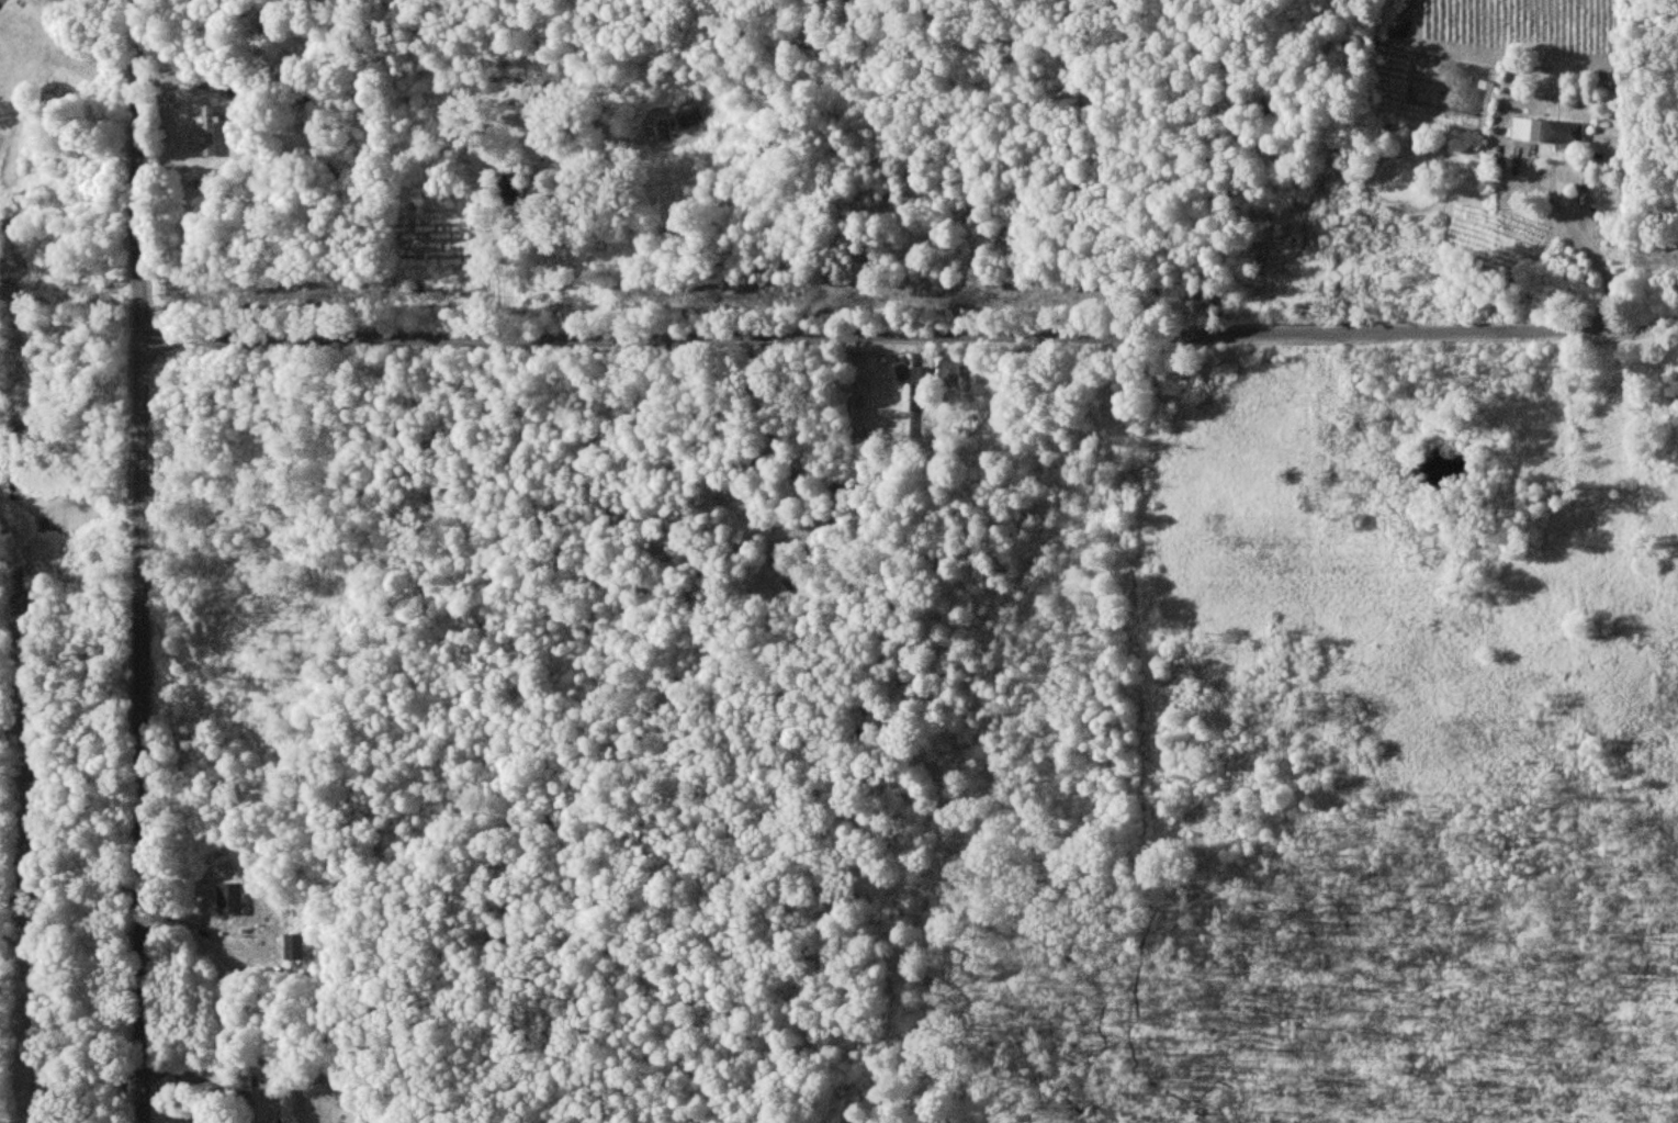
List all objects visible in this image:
road: (1, 1)
building: (1546, 134)
road: (948, 338)
road: (144, 561)
building: (230, 897)
building: (295, 945)
building: (288, 1107)

